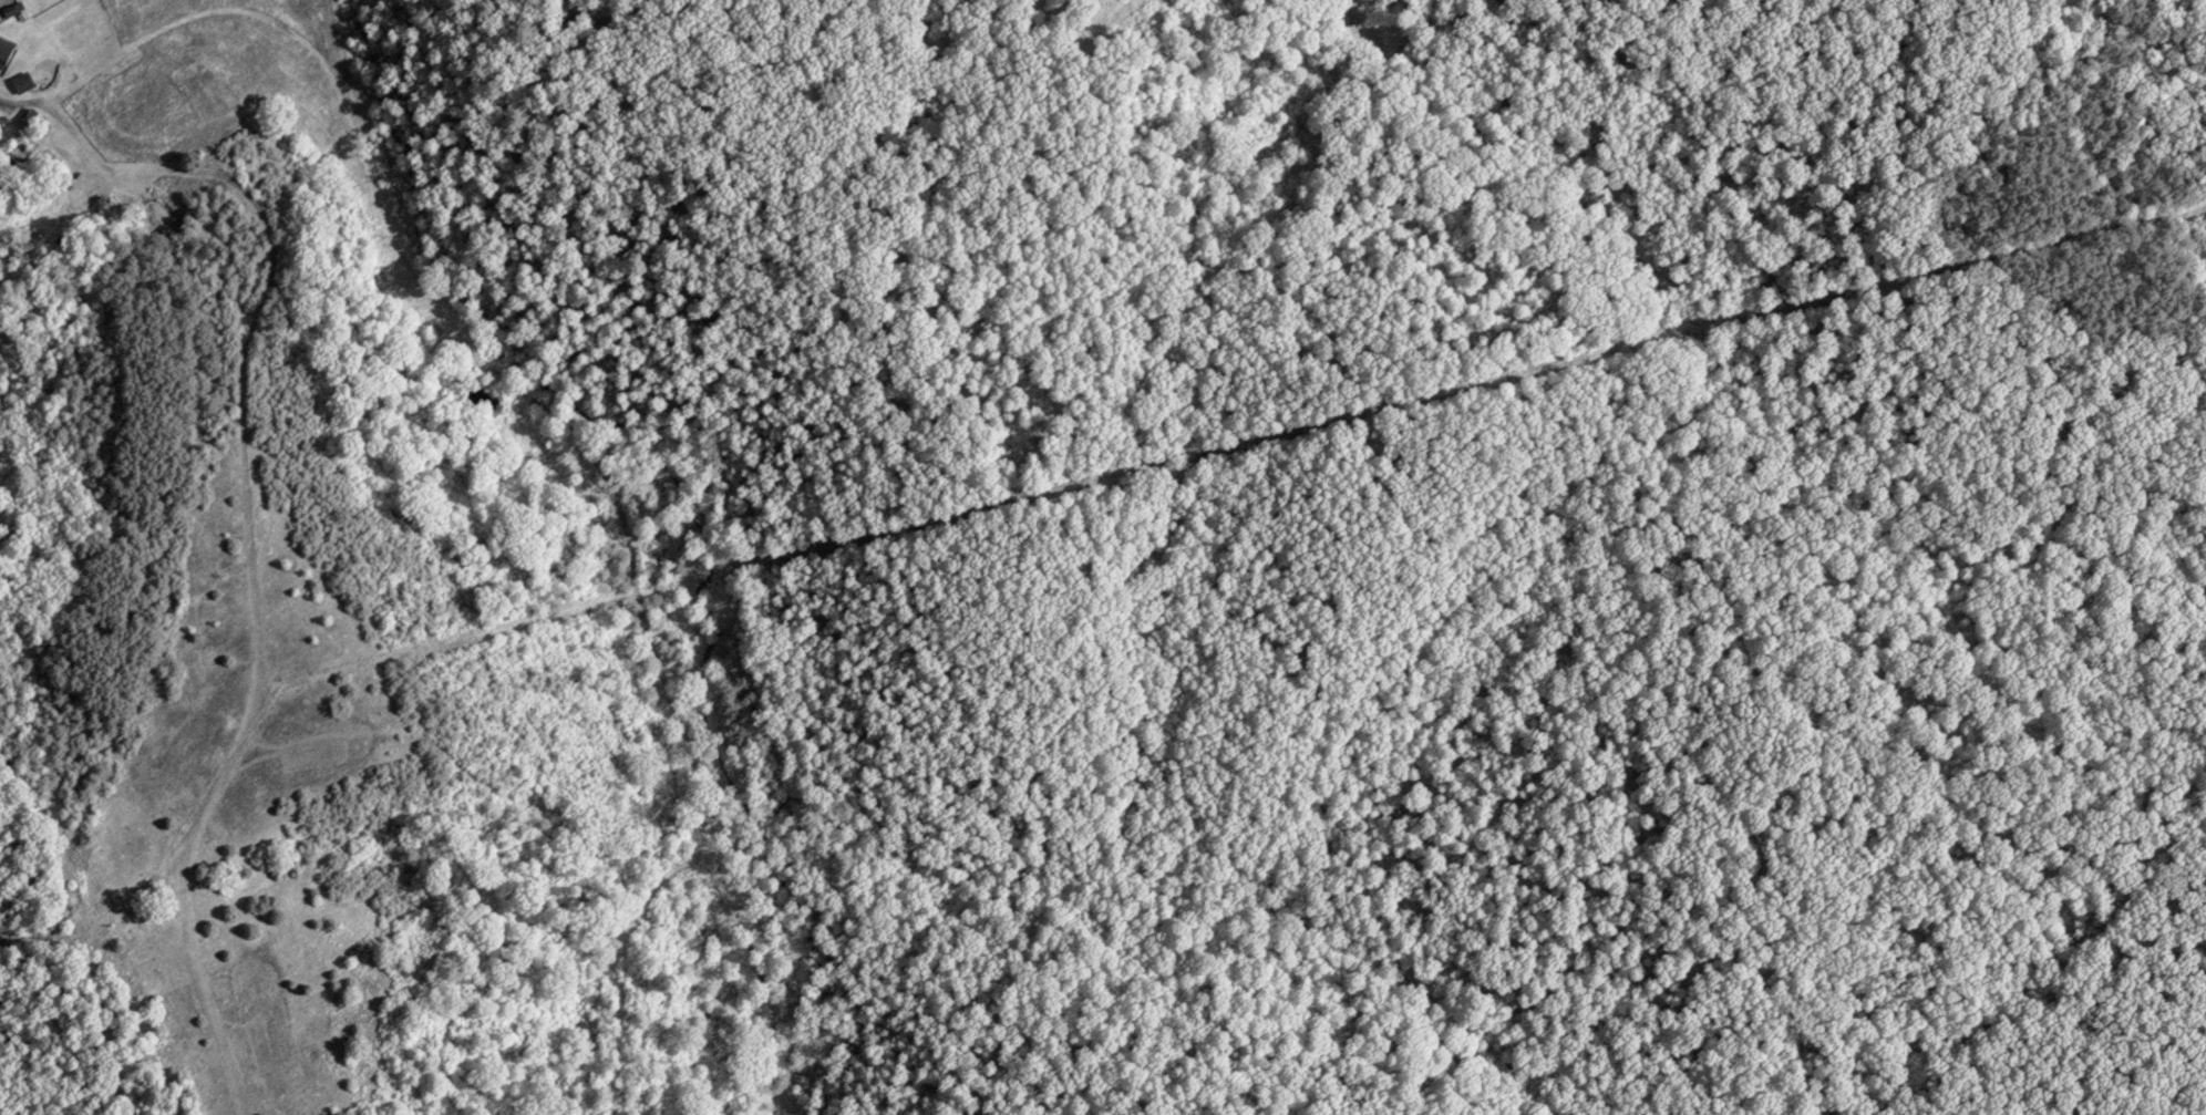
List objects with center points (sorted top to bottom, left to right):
building: (3, 53)

